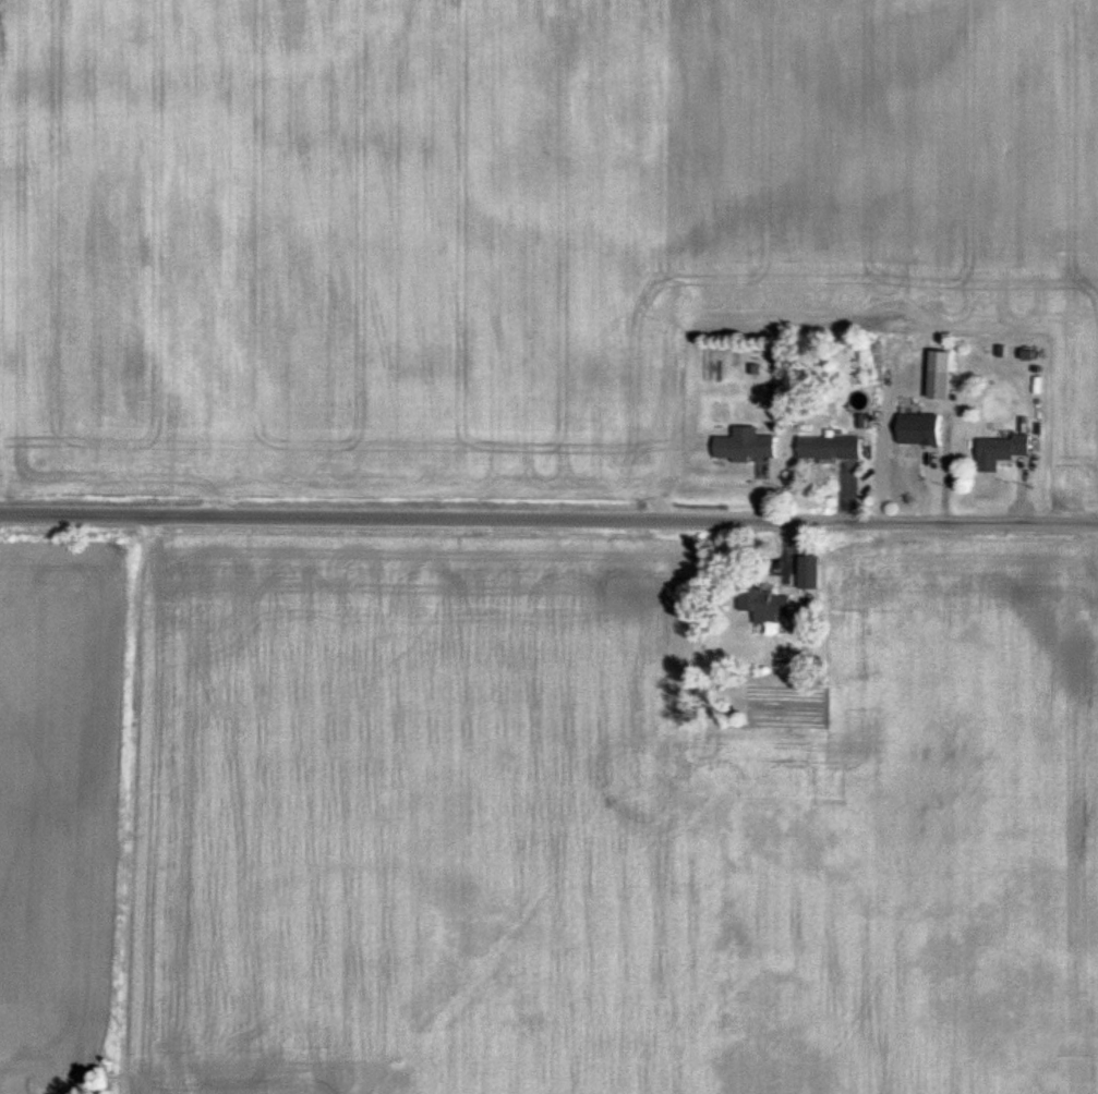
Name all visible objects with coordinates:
building: (939, 382)
building: (917, 430)
building: (744, 446)
building: (829, 449)
building: (1000, 452)
road: (548, 513)
building: (807, 572)
building: (764, 605)

